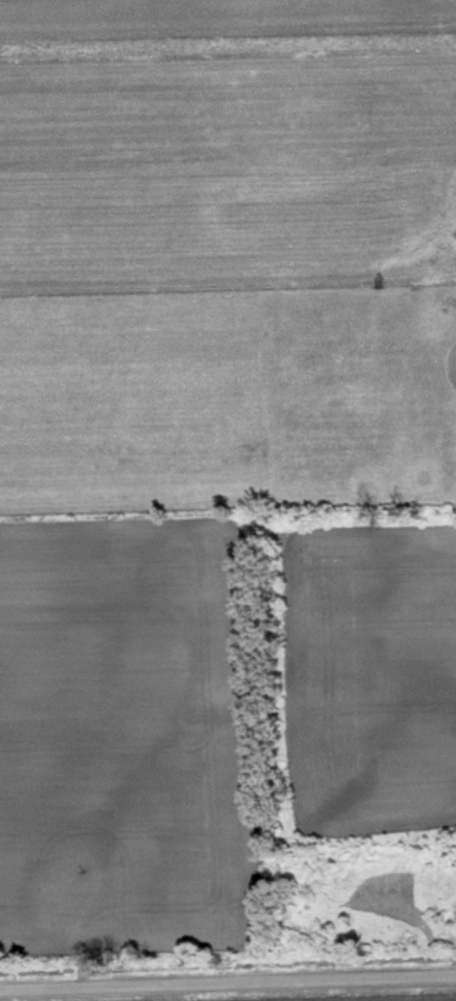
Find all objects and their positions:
road: (227, 980)

